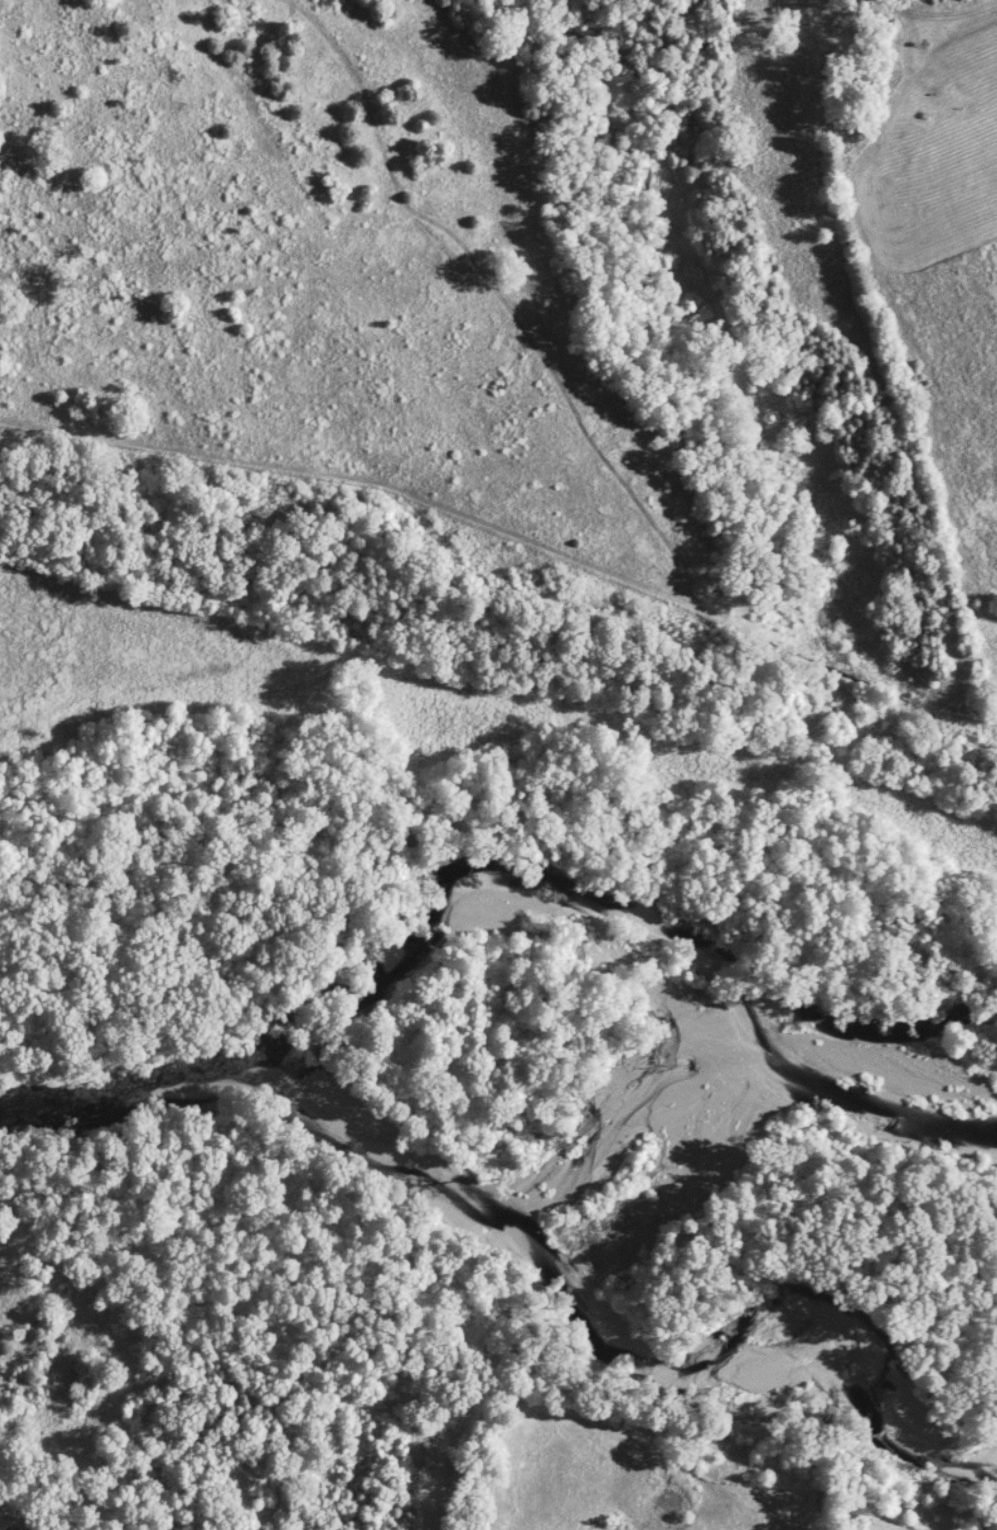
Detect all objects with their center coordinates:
river: (520, 1233)

